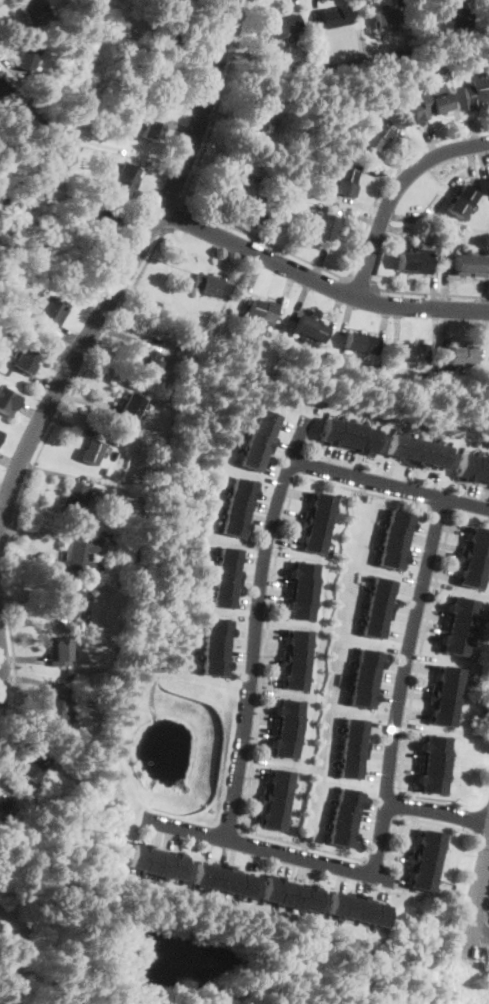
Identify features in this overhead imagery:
road: (2, 1)
road: (398, 3)
road: (291, 5)
building: (32, 7)
road: (420, 12)
road: (315, 13)
building: (453, 16)
building: (335, 17)
building: (386, 17)
building: (281, 29)
building: (176, 34)
building: (472, 39)
building: (405, 51)
building: (395, 52)
building: (26, 54)
road: (202, 54)
building: (326, 65)
building: (429, 67)
road: (196, 69)
road: (4, 74)
building: (166, 80)
building: (485, 85)
building: (2, 87)
building: (474, 93)
building: (439, 99)
building: (421, 106)
building: (265, 112)
building: (27, 114)
road: (181, 127)
road: (236, 128)
road: (460, 128)
building: (150, 131)
building: (380, 131)
road: (473, 131)
road: (408, 139)
building: (371, 141)
road: (431, 144)
building: (349, 147)
road: (484, 160)
road: (471, 165)
road: (392, 166)
road: (161, 173)
building: (347, 174)
road: (381, 175)
building: (125, 180)
building: (488, 181)
building: (231, 184)
building: (343, 186)
building: (259, 189)
road: (393, 193)
building: (465, 195)
road: (200, 197)
road: (361, 205)
building: (457, 207)
building: (281, 211)
building: (100, 214)
road: (175, 216)
road: (355, 216)
road: (410, 217)
building: (327, 220)
road: (134, 228)
road: (393, 230)
building: (323, 232)
road: (269, 242)
building: (421, 260)
building: (405, 261)
road: (224, 262)
road: (320, 262)
building: (462, 263)
building: (477, 264)
road: (127, 268)
road: (360, 280)
road: (252, 281)
road: (319, 282)
building: (206, 283)
building: (70, 286)
road: (445, 288)
road: (288, 289)
road: (434, 289)
road: (428, 291)
road: (484, 293)
road: (301, 294)
building: (30, 305)
building: (254, 309)
road: (335, 310)
building: (52, 311)
building: (267, 311)
road: (346, 315)
building: (302, 326)
road: (394, 327)
road: (434, 328)
road: (483, 329)
road: (446, 330)
building: (315, 332)
building: (200, 334)
road: (126, 336)
road: (72, 338)
building: (353, 342)
building: (368, 345)
building: (418, 352)
building: (405, 353)
building: (456, 356)
building: (468, 356)
building: (26, 359)
building: (150, 364)
building: (163, 383)
road: (45, 384)
road: (86, 399)
building: (7, 400)
building: (131, 406)
road: (30, 411)
building: (264, 417)
road: (71, 425)
road: (289, 426)
building: (132, 429)
building: (328, 429)
building: (0, 432)
building: (261, 432)
building: (343, 432)
building: (356, 435)
building: (369, 440)
road: (284, 445)
building: (397, 446)
building: (256, 448)
building: (411, 450)
building: (91, 452)
road: (281, 453)
building: (426, 454)
building: (440, 455)
road: (326, 456)
road: (336, 459)
building: (248, 460)
road: (9, 461)
road: (349, 462)
road: (358, 465)
building: (466, 466)
building: (480, 467)
road: (273, 470)
road: (31, 471)
road: (390, 471)
road: (52, 472)
building: (109, 473)
building: (487, 474)
road: (408, 477)
road: (415, 479)
road: (270, 481)
road: (434, 482)
road: (388, 483)
road: (365, 484)
building: (240, 486)
road: (4, 490)
road: (464, 491)
road: (293, 493)
road: (475, 493)
building: (75, 495)
road: (352, 495)
road: (486, 496)
road: (264, 497)
building: (362, 497)
building: (324, 499)
building: (235, 500)
road: (372, 500)
road: (261, 507)
road: (287, 511)
road: (441, 511)
building: (232, 513)
building: (318, 513)
road: (285, 518)
building: (401, 518)
road: (258, 519)
building: (231, 526)
road: (453, 526)
building: (315, 528)
road: (256, 529)
road: (425, 529)
building: (396, 531)
road: (39, 533)
building: (480, 534)
road: (283, 539)
road: (423, 539)
building: (314, 544)
building: (393, 544)
road: (446, 544)
building: (475, 549)
building: (227, 552)
road: (276, 552)
road: (420, 552)
road: (445, 553)
building: (81, 554)
road: (253, 558)
building: (392, 558)
road: (418, 561)
building: (472, 564)
building: (226, 568)
building: (303, 569)
road: (275, 570)
road: (442, 572)
road: (251, 577)
building: (471, 579)
road: (414, 580)
road: (275, 581)
building: (304, 583)
building: (382, 583)
road: (437, 583)
building: (224, 584)
road: (249, 585)
road: (410, 589)
road: (273, 593)
building: (303, 596)
building: (221, 599)
building: (380, 599)
road: (433, 602)
building: (71, 603)
road: (246, 603)
road: (270, 603)
building: (462, 605)
road: (32, 606)
building: (299, 609)
road: (406, 609)
road: (431, 613)
building: (377, 615)
road: (404, 617)
building: (461, 619)
road: (254, 624)
building: (217, 625)
road: (428, 625)
building: (373, 629)
building: (458, 631)
road: (270, 632)
road: (243, 633)
road: (399, 635)
road: (424, 635)
building: (298, 636)
road: (425, 636)
building: (214, 640)
road: (241, 643)
building: (452, 644)
road: (263, 645)
building: (294, 651)
building: (60, 652)
building: (213, 652)
road: (264, 652)
road: (398, 652)
road: (239, 656)
road: (420, 656)
building: (369, 657)
road: (23, 658)
road: (264, 660)
building: (212, 666)
road: (238, 666)
building: (292, 666)
road: (395, 666)
road: (421, 668)
road: (0, 670)
building: (364, 672)
building: (450, 673)
building: (68, 674)
road: (391, 676)
road: (264, 678)
road: (34, 680)
building: (293, 681)
road: (2, 682)
building: (362, 685)
road: (401, 685)
road: (415, 686)
building: (445, 688)
road: (390, 690)
road: (259, 691)
road: (414, 694)
road: (388, 698)
building: (361, 699)
building: (443, 703)
building: (287, 706)
road: (258, 708)
building: (57, 712)
road: (413, 713)
road: (386, 716)
building: (442, 717)
road: (258, 718)
building: (286, 721)
building: (355, 725)
road: (409, 725)
road: (383, 728)
road: (255, 731)
building: (285, 734)
building: (354, 740)
road: (253, 742)
building: (435, 742)
road: (407, 744)
building: (282, 747)
road: (381, 747)
road: (380, 754)
road: (406, 754)
building: (352, 756)
building: (435, 756)
road: (251, 759)
building: (33, 765)
road: (405, 766)
building: (434, 768)
building: (349, 770)
road: (9, 771)
road: (251, 771)
road: (377, 774)
building: (280, 775)
road: (402, 777)
building: (430, 782)
road: (246, 789)
building: (275, 790)
road: (3, 793)
building: (350, 796)
road: (245, 798)
road: (399, 804)
building: (3, 806)
building: (272, 806)
road: (375, 807)
building: (346, 809)
road: (438, 810)
road: (245, 815)
road: (373, 817)
road: (416, 818)
road: (413, 820)
building: (272, 821)
building: (343, 822)
road: (370, 829)
road: (145, 830)
road: (154, 835)
building: (340, 836)
road: (166, 837)
building: (306, 837)
road: (177, 838)
building: (431, 838)
road: (482, 840)
road: (367, 841)
road: (394, 847)
road: (206, 848)
road: (224, 850)
road: (267, 850)
road: (304, 850)
building: (425, 851)
road: (232, 852)
building: (134, 854)
road: (392, 856)
building: (147, 859)
road: (252, 859)
road: (374, 861)
building: (159, 862)
road: (279, 863)
building: (173, 864)
building: (421, 866)
road: (290, 869)
road: (299, 871)
road: (312, 871)
building: (199, 873)
building: (213, 874)
building: (229, 878)
road: (340, 880)
road: (358, 882)
building: (420, 882)
building: (243, 883)
road: (399, 883)
road: (366, 884)
building: (269, 887)
road: (384, 891)
building: (283, 893)
building: (295, 896)
building: (309, 896)
building: (334, 903)
building: (349, 904)
road: (474, 905)
building: (364, 908)
building: (378, 914)
road: (488, 921)
building: (2, 924)
road: (478, 930)
building: (0, 931)
road: (484, 934)
road: (479, 954)
building: (6, 980)

